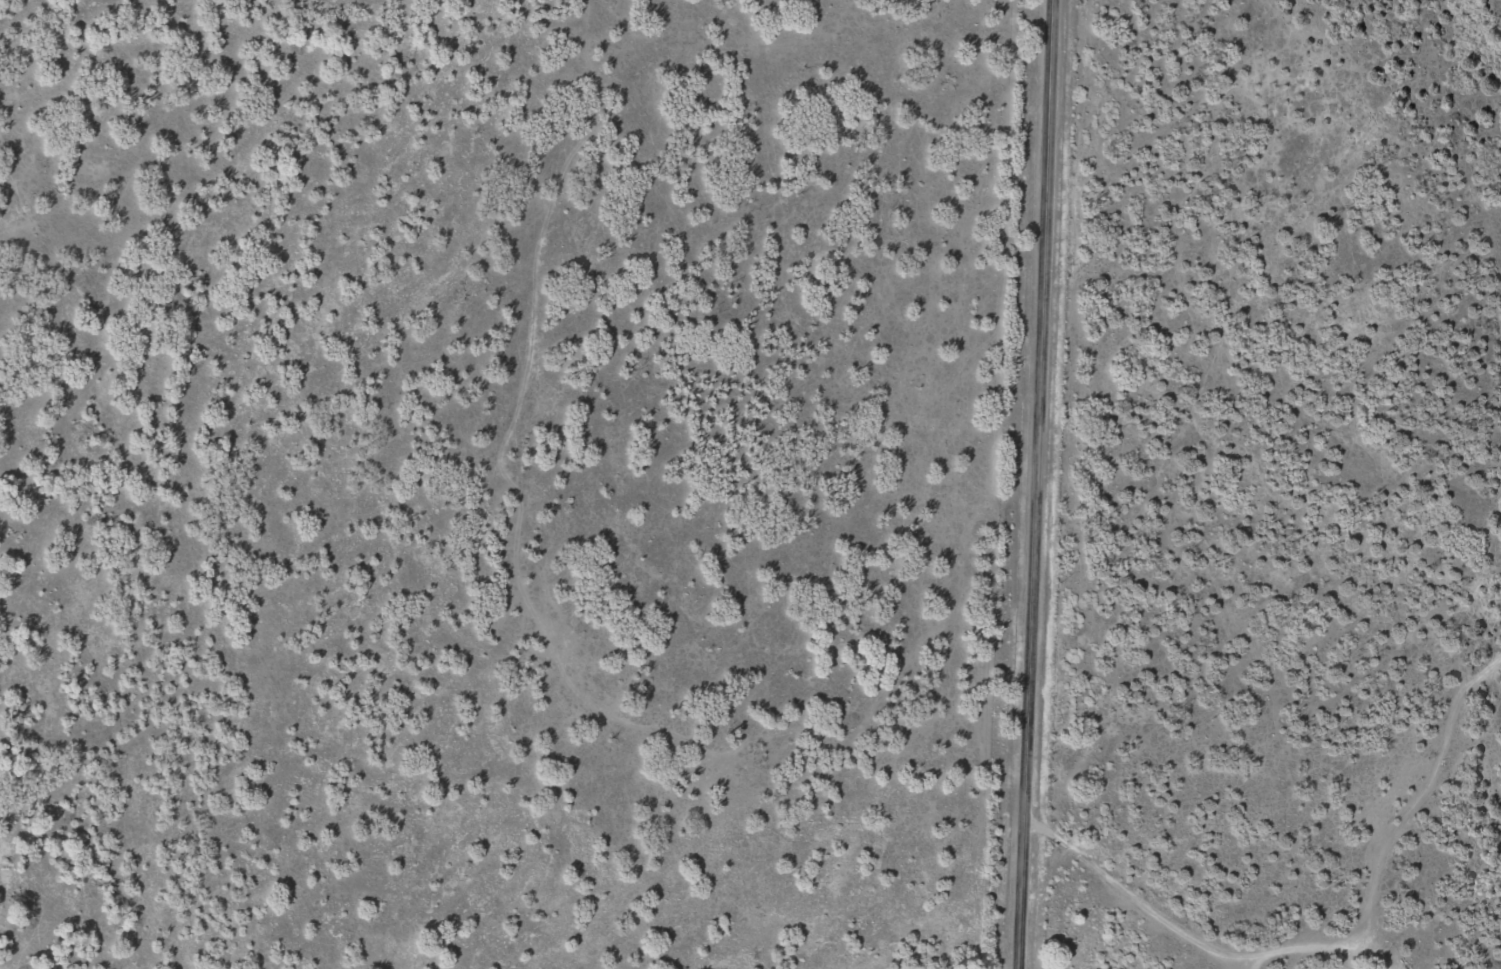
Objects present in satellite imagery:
road: (1039, 484)

